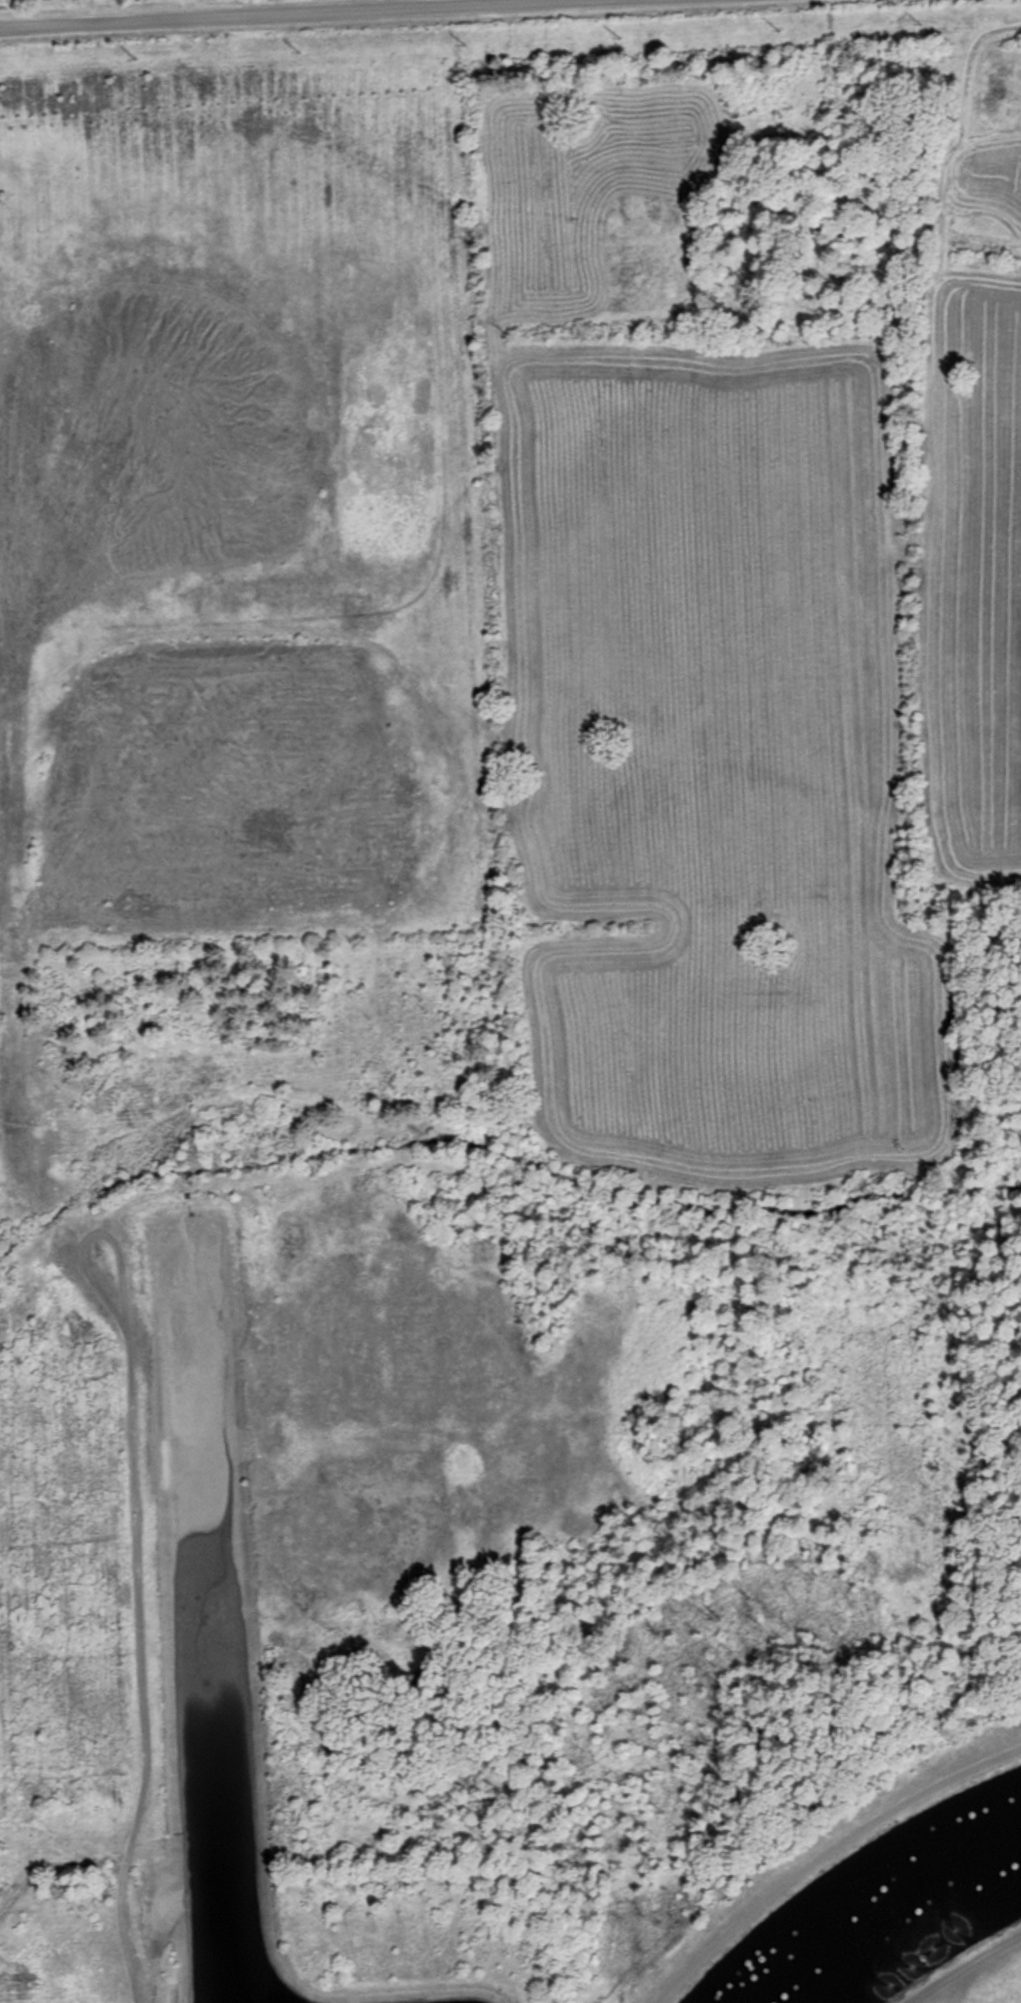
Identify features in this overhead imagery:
road: (284, 13)
road: (96, 1236)
road: (144, 1671)
road: (826, 1855)
building: (890, 1906)
road: (968, 1970)

